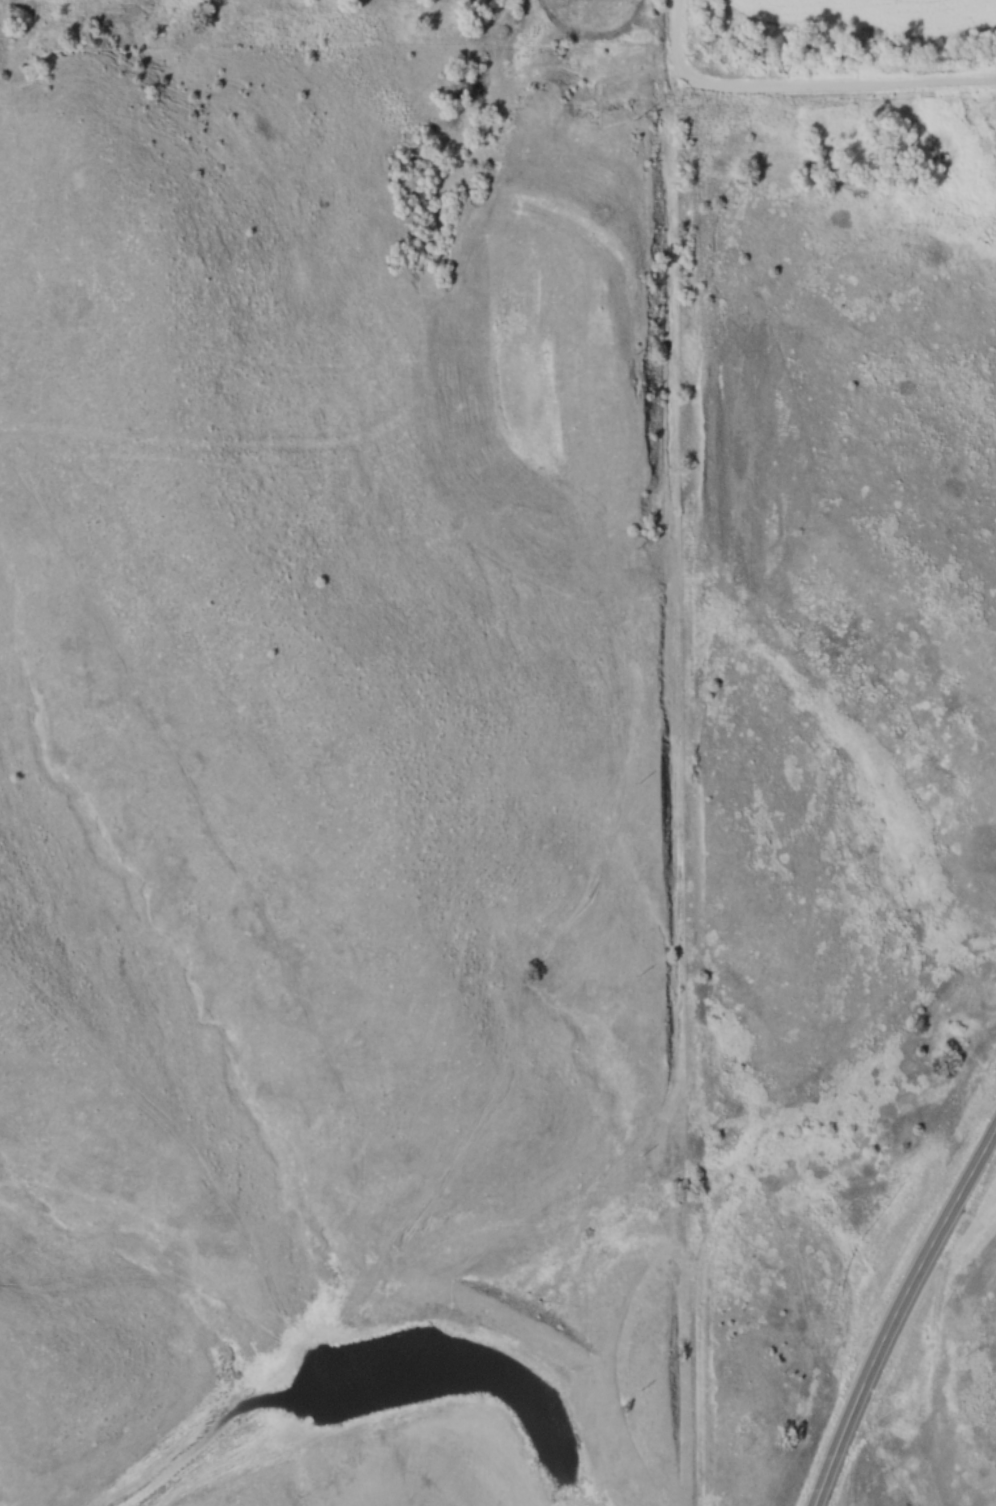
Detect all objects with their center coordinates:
road: (675, 55)
road: (855, 86)
road: (896, 1313)

